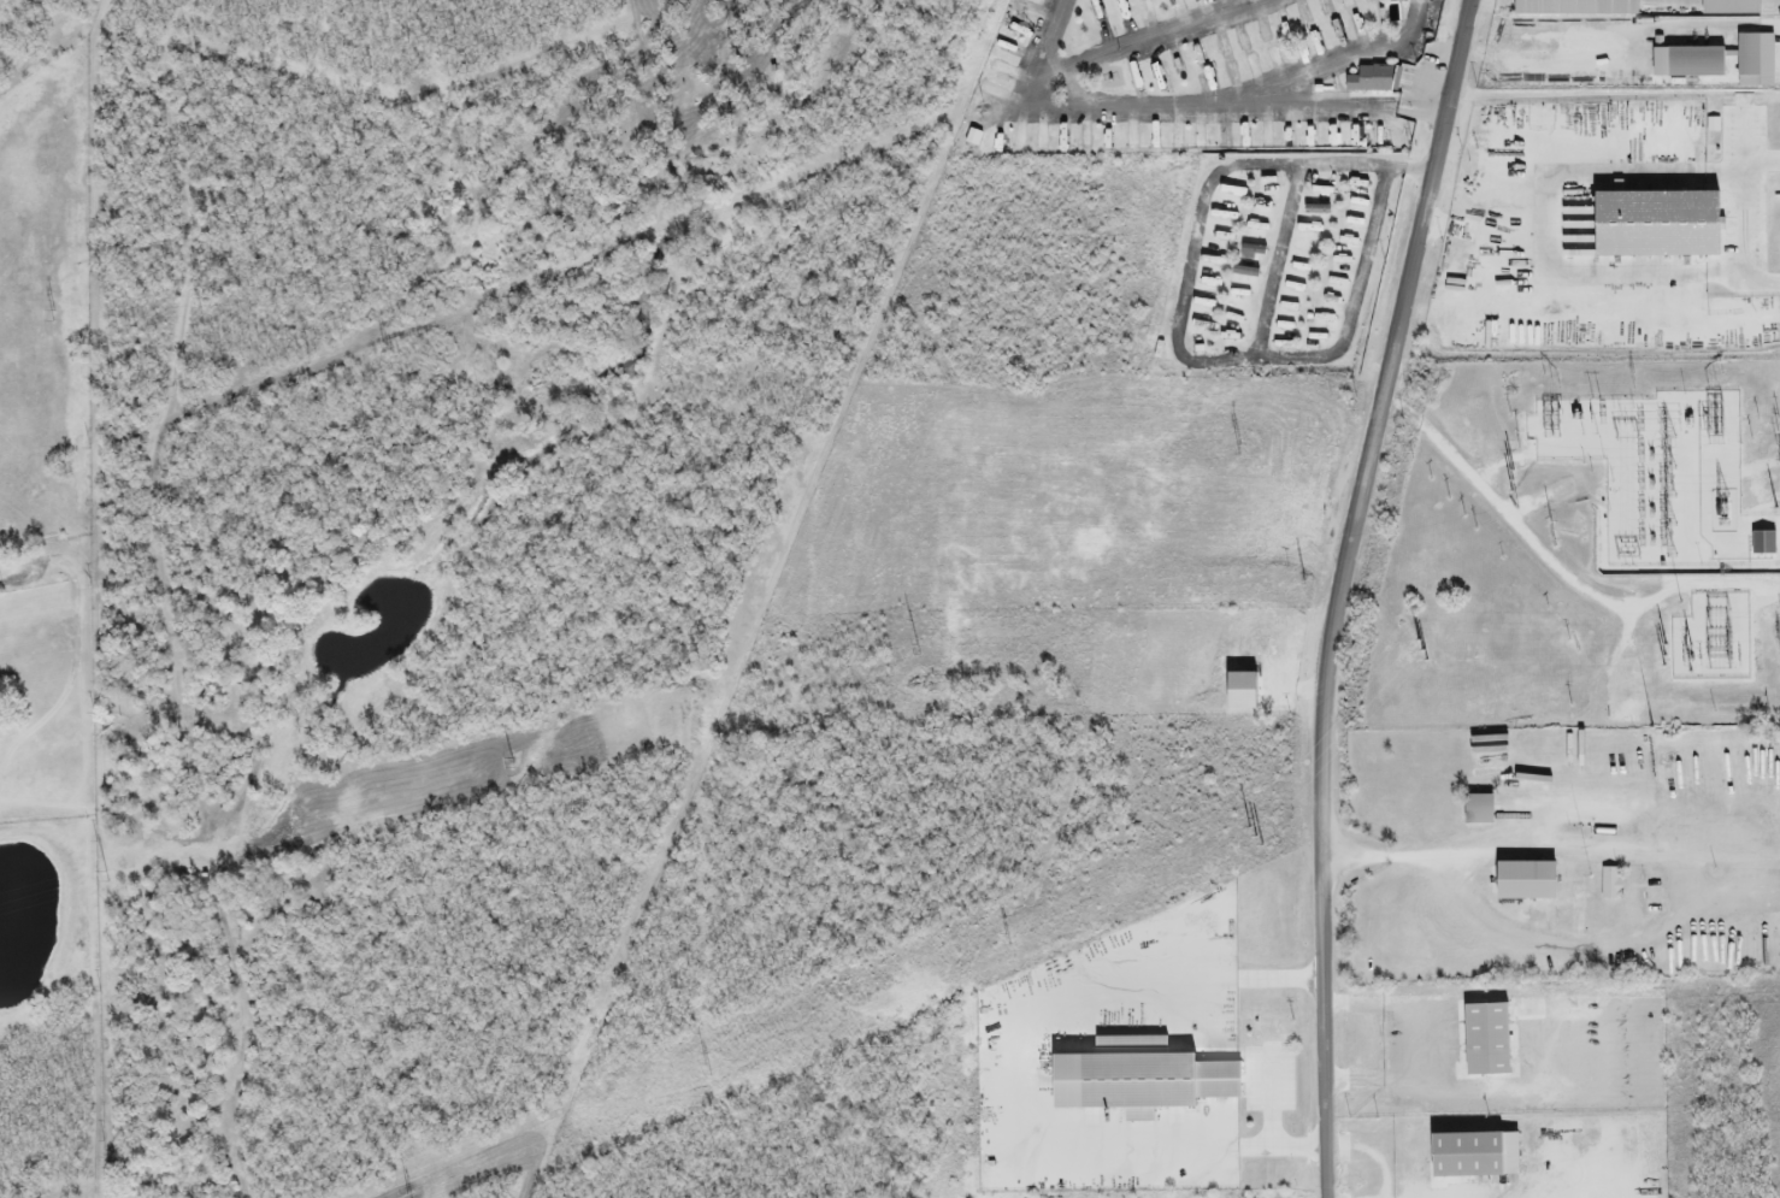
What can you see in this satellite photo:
building: (1572, 7)
building: (1727, 7)
road: (1686, 24)
road: (1053, 39)
road: (1153, 41)
road: (1531, 53)
building: (1752, 61)
building: (1685, 64)
road: (1231, 106)
road: (1319, 108)
road: (1549, 222)
road: (1746, 224)
road: (81, 266)
road: (1277, 266)
power tower: (55, 317)
road: (1175, 334)
power tower: (390, 354)
power tower: (821, 403)
power tower: (1627, 438)
power tower: (1242, 450)
power tower: (1674, 456)
power substation: (1663, 477)
power tower: (1511, 480)
power tower: (1674, 484)
power tower: (1674, 512)
power tower: (1779, 513)
power tower: (1552, 536)
power tower: (1674, 539)
road: (79, 543)
power tower: (1628, 559)
road: (30, 561)
power tower: (1304, 580)
road: (1340, 592)
power substation: (1720, 638)
power tower: (1734, 639)
power tower: (919, 650)
power tower: (1657, 656)
power tower: (1707, 656)
power tower: (1735, 656)
power tower: (512, 763)
building: (1475, 809)
power tower: (1265, 828)
road: (1670, 856)
power tower: (105, 878)
building: (1521, 880)
building: (1609, 884)
power tower: (1000, 943)
road: (1415, 1045)
power tower: (700, 1073)
road: (1031, 1075)
road: (1373, 1156)

